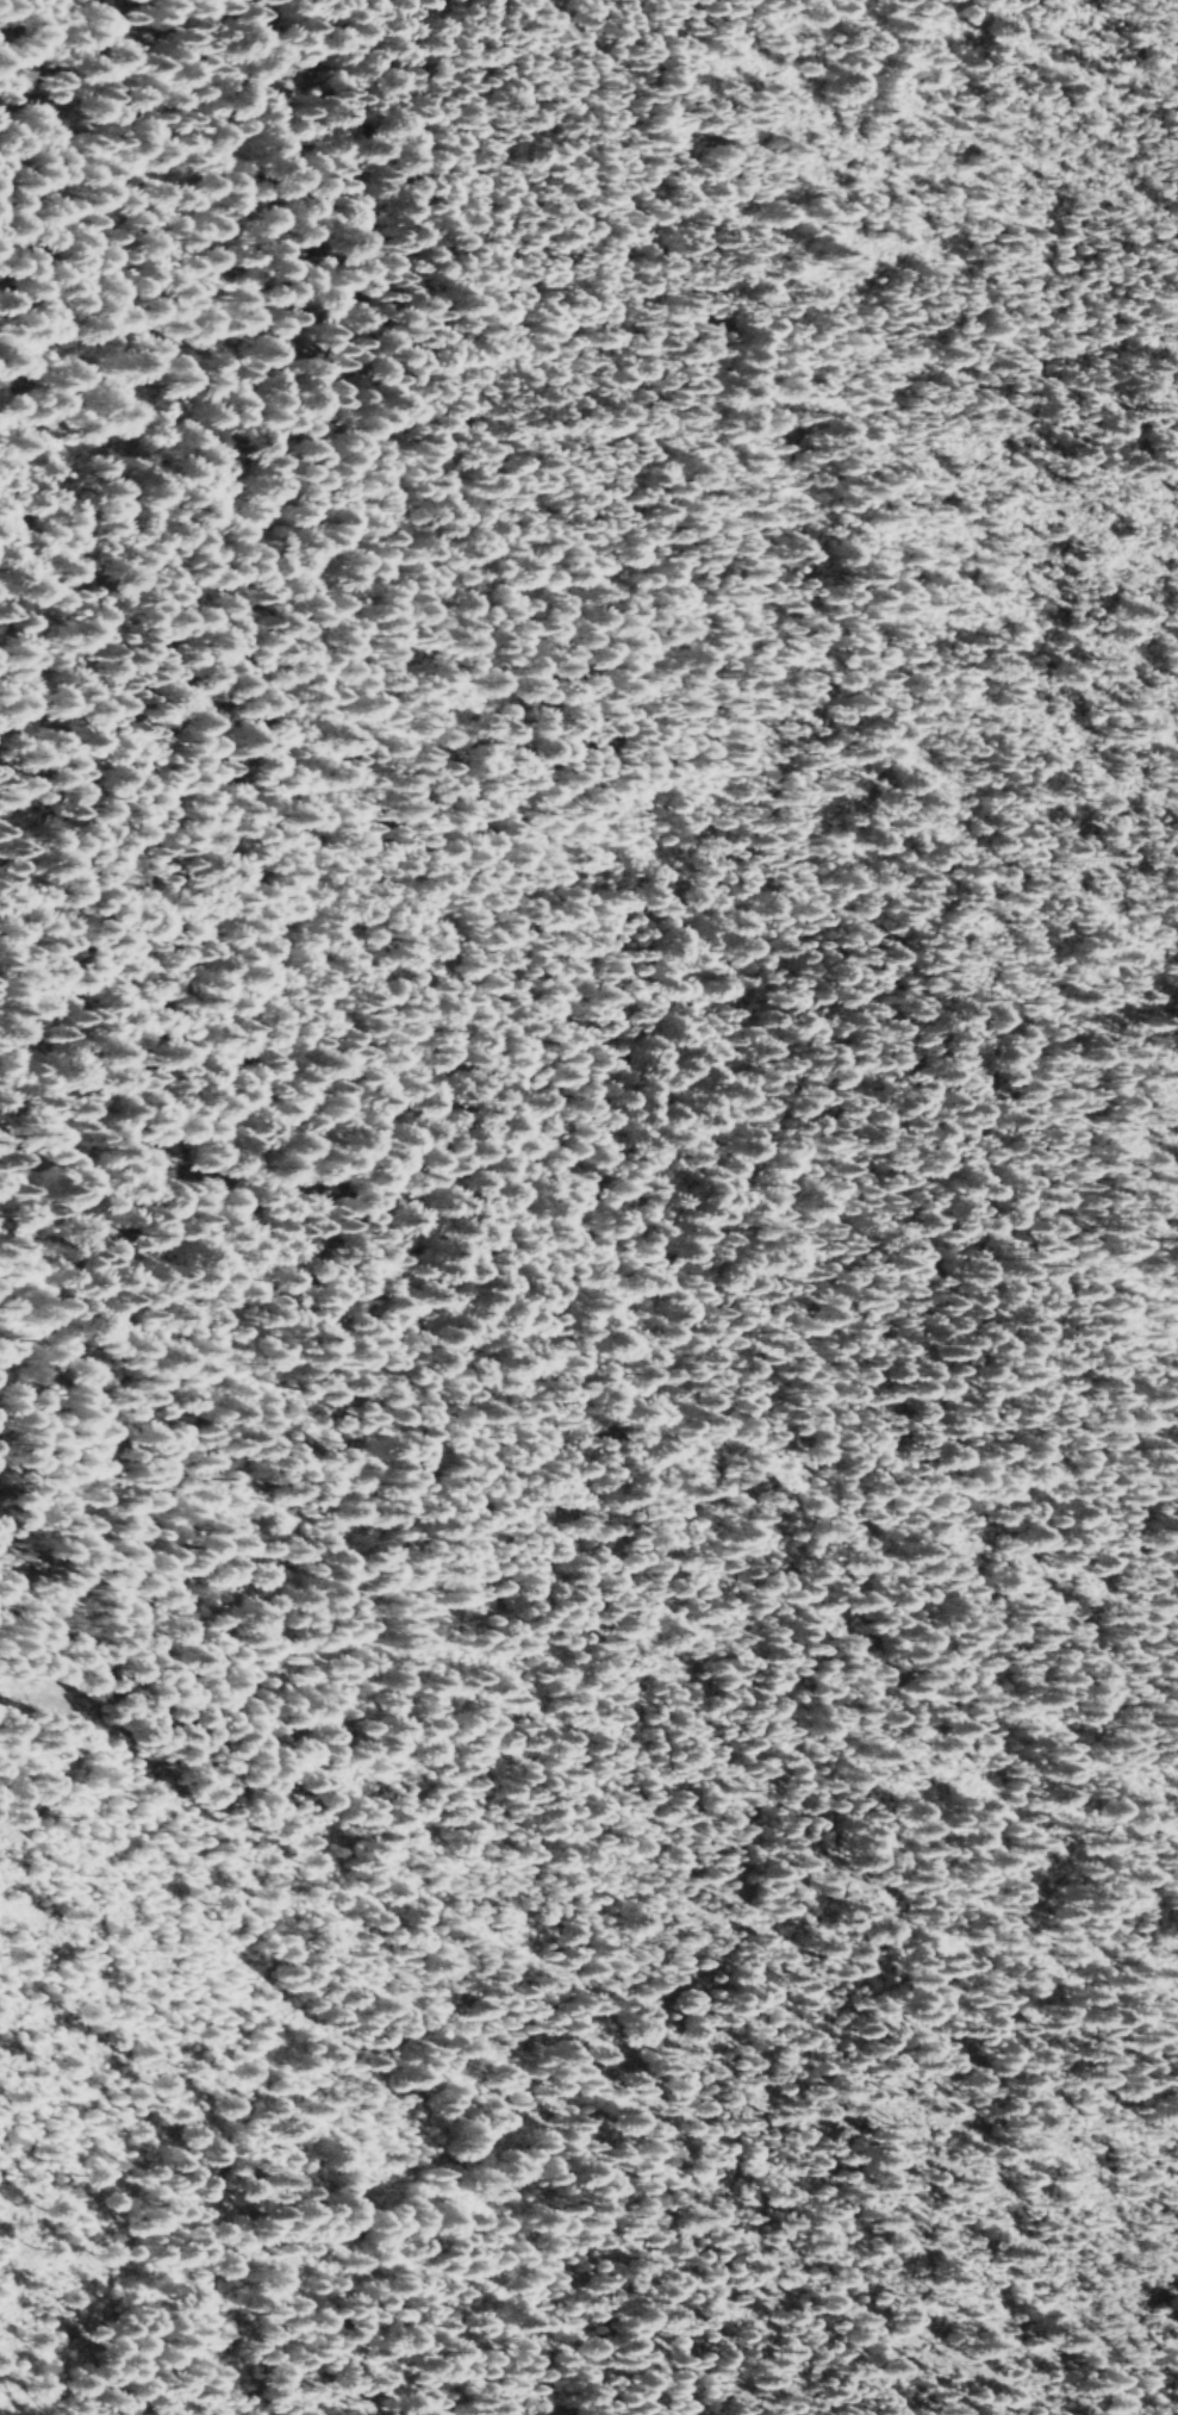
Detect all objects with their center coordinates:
road: (38, 1811)
road: (1127, 2336)

